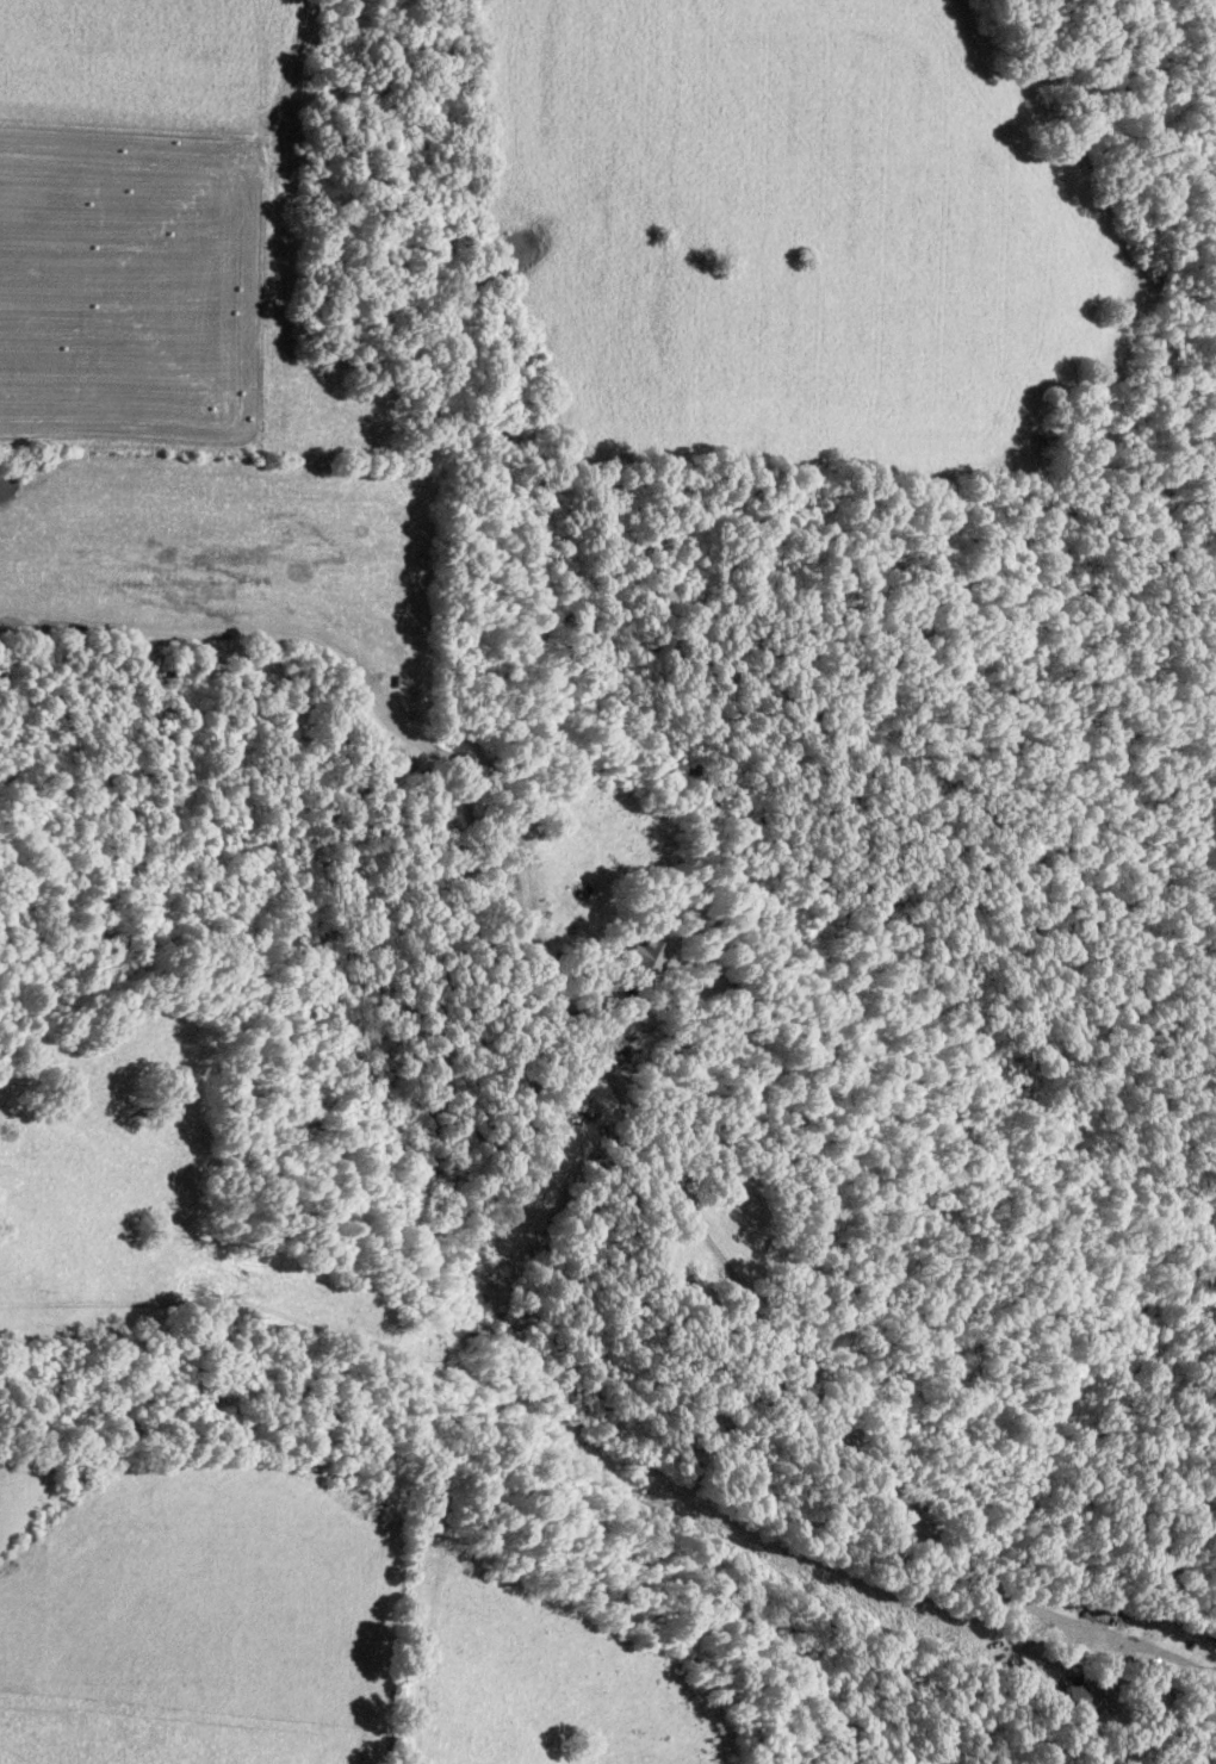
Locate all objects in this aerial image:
building: (1075, 1698)

